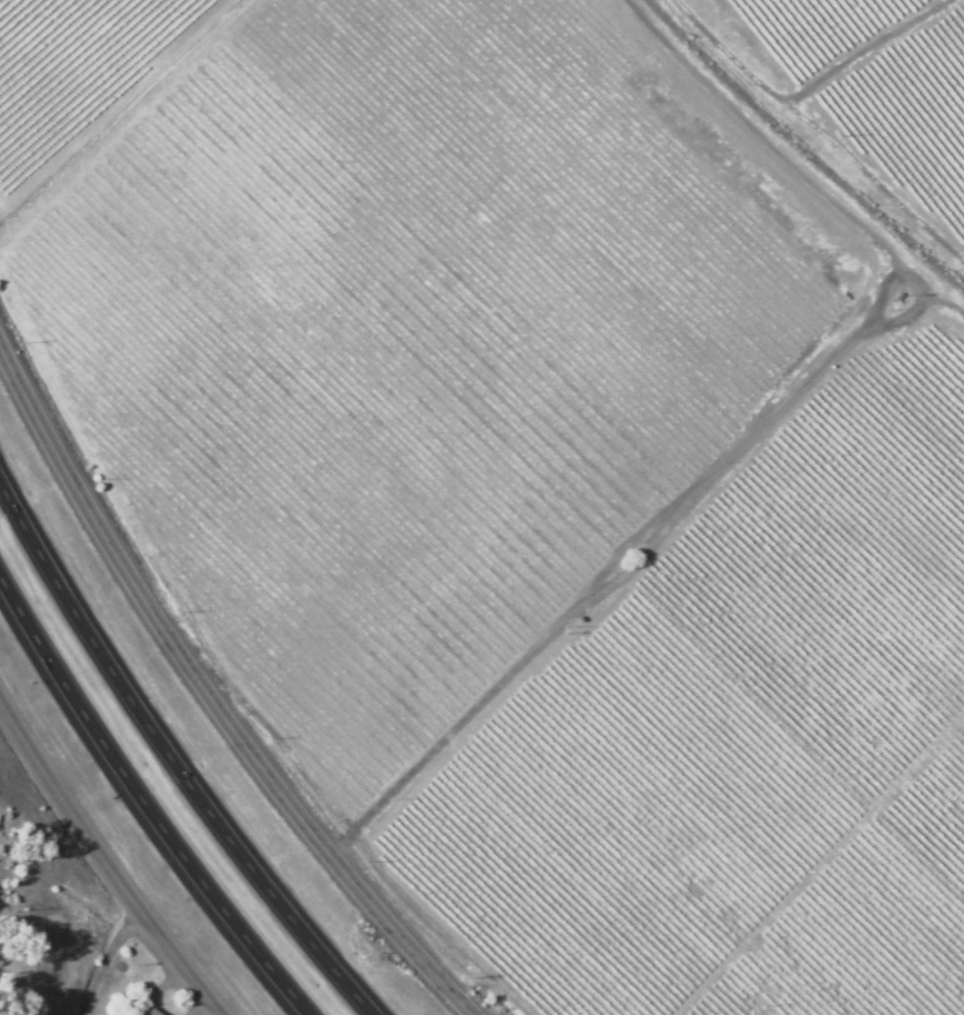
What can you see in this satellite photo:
railway: (801, 149)
road: (211, 701)
road: (171, 755)
road: (143, 799)
road: (105, 857)
building: (109, 998)
building: (145, 1011)

